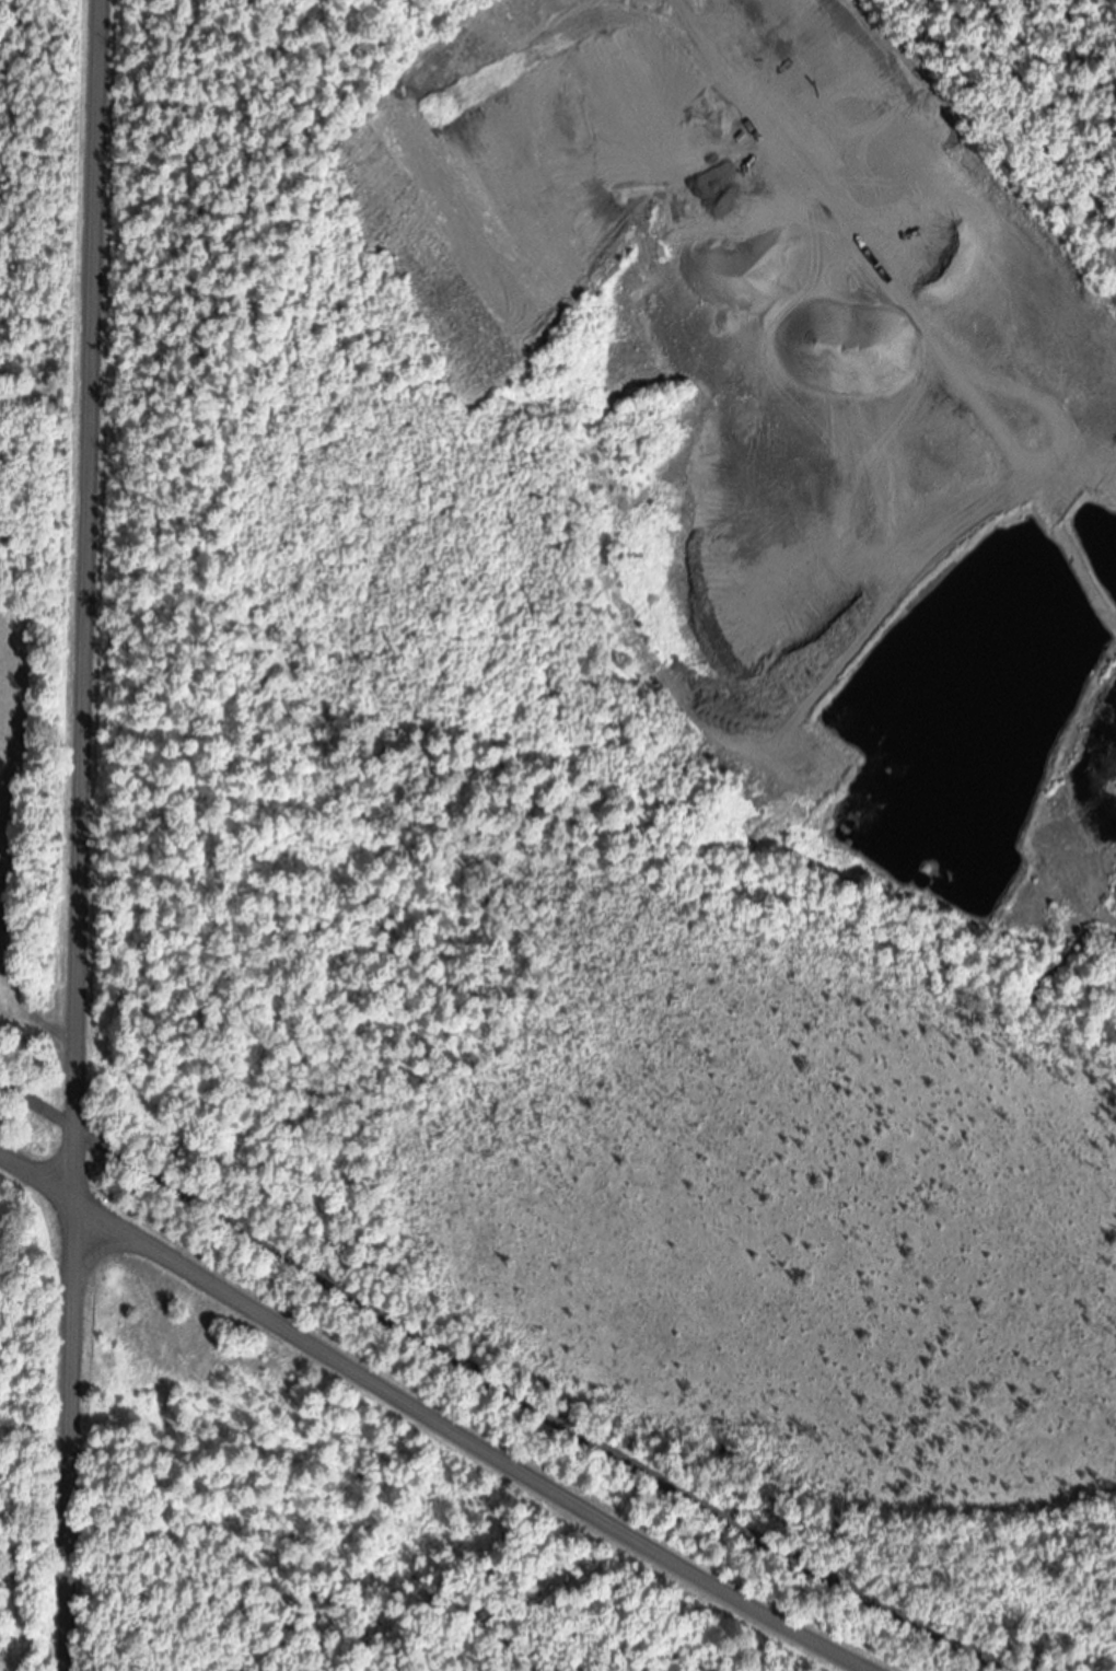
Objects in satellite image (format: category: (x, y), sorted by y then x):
quarry: (631, 689)
road: (81, 835)
road: (505, 1386)
road: (431, 1420)

